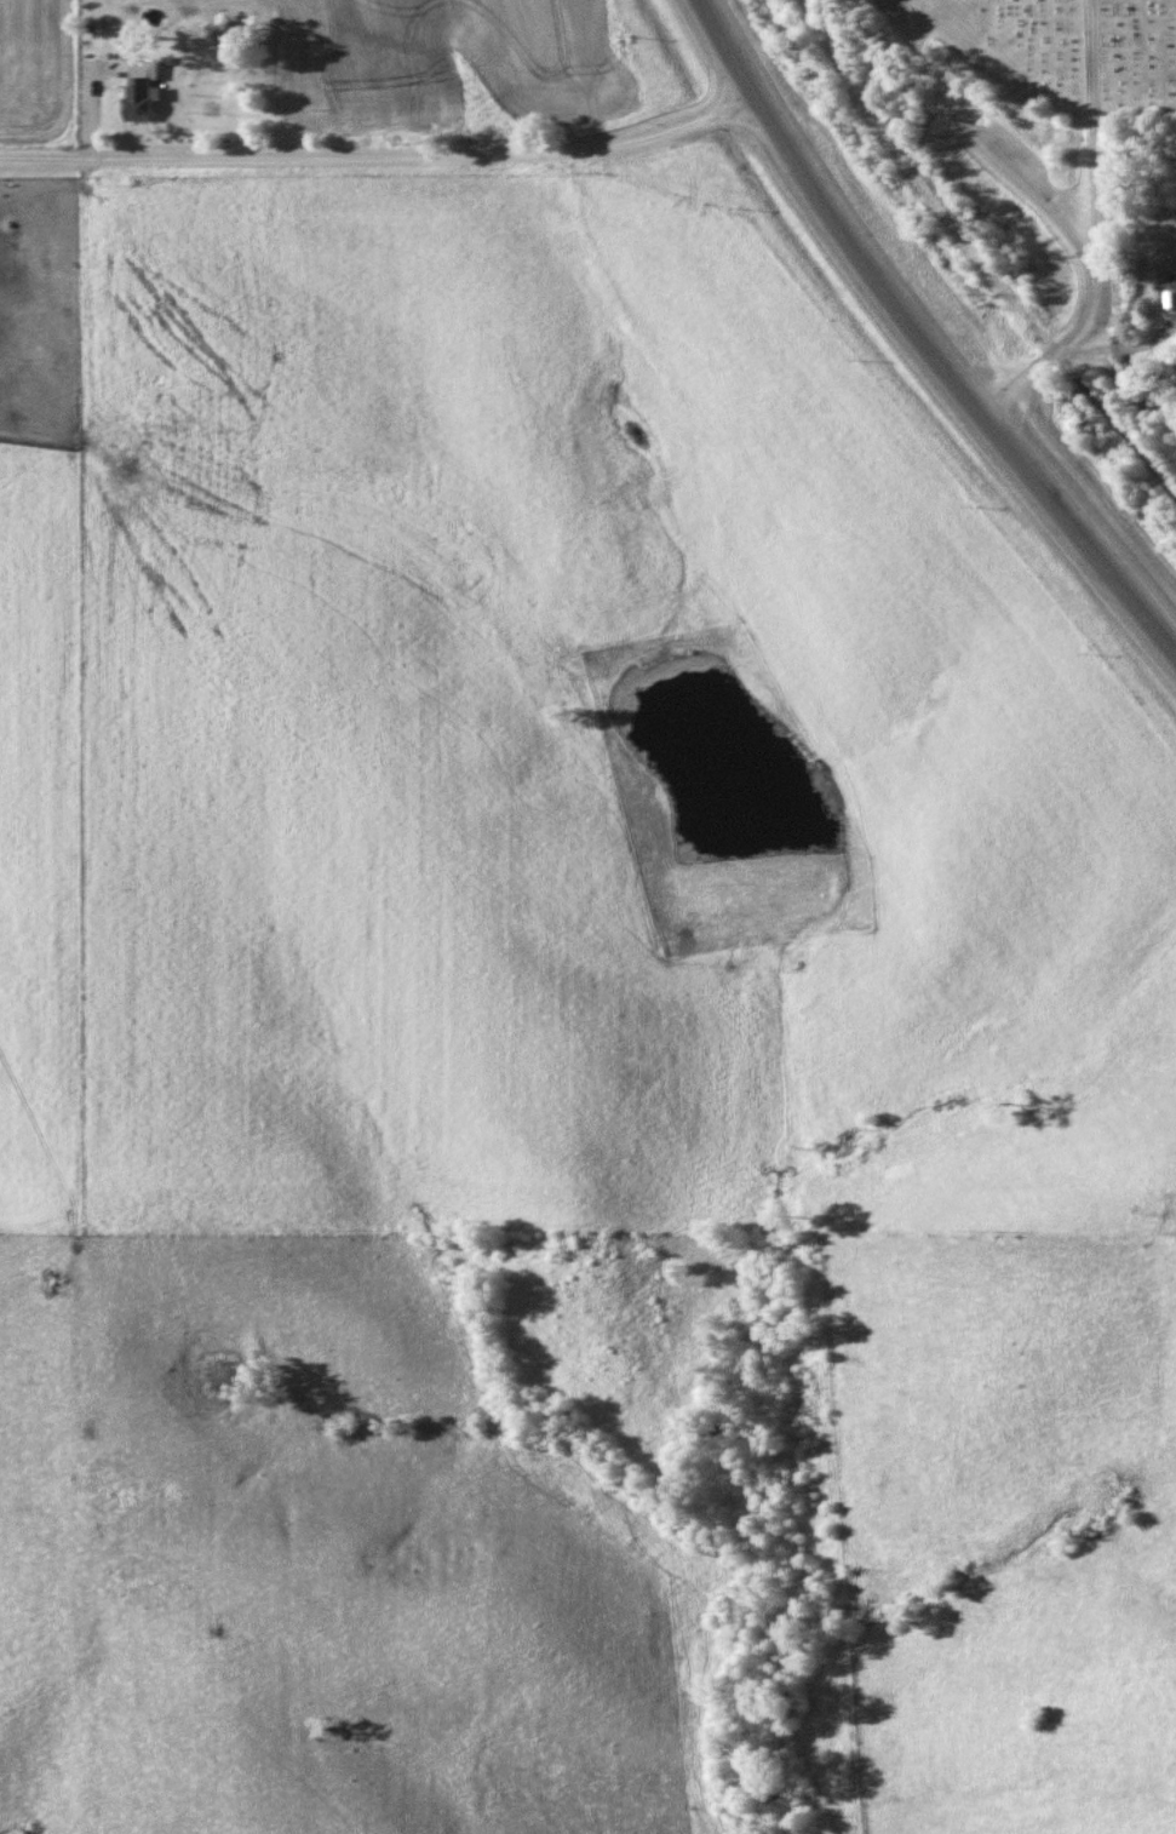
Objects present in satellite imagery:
road: (896, 1)
park: (1022, 56)
building: (139, 93)
road: (977, 144)
road: (380, 155)
road: (1096, 231)
road: (918, 340)

